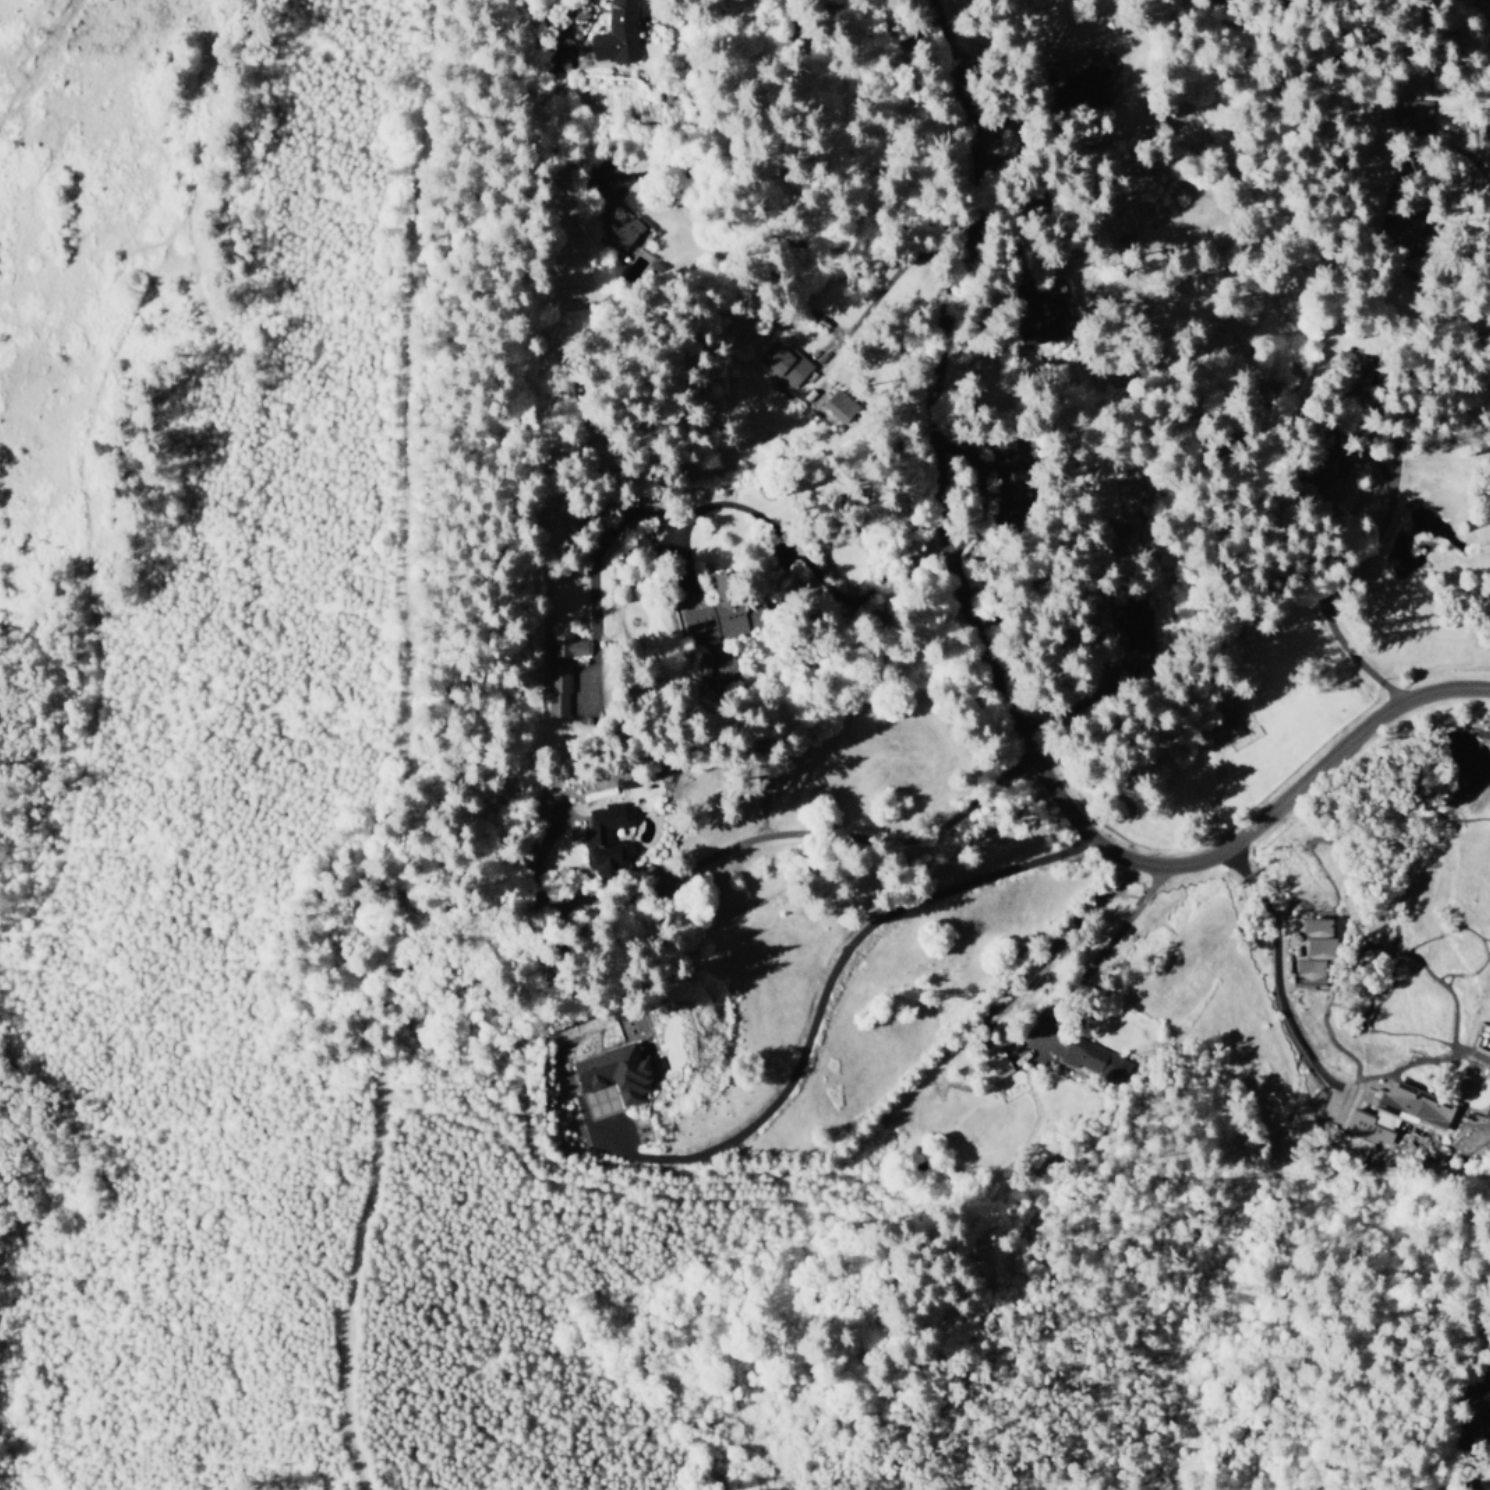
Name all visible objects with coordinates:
building: (615, 34)
building: (1075, 86)
building: (1411, 115)
building: (602, 204)
building: (620, 229)
building: (1403, 231)
building: (1045, 320)
building: (783, 363)
building: (1357, 364)
building: (837, 405)
building: (1325, 468)
building: (1007, 478)
building: (723, 612)
building: (1132, 624)
road: (993, 653)
building: (700, 664)
building: (559, 670)
building: (1226, 723)
building: (601, 839)
building: (1316, 937)
road: (1273, 970)
building: (1306, 970)
building: (1094, 1059)
building: (995, 1069)
building: (612, 1074)
building: (1396, 1113)

